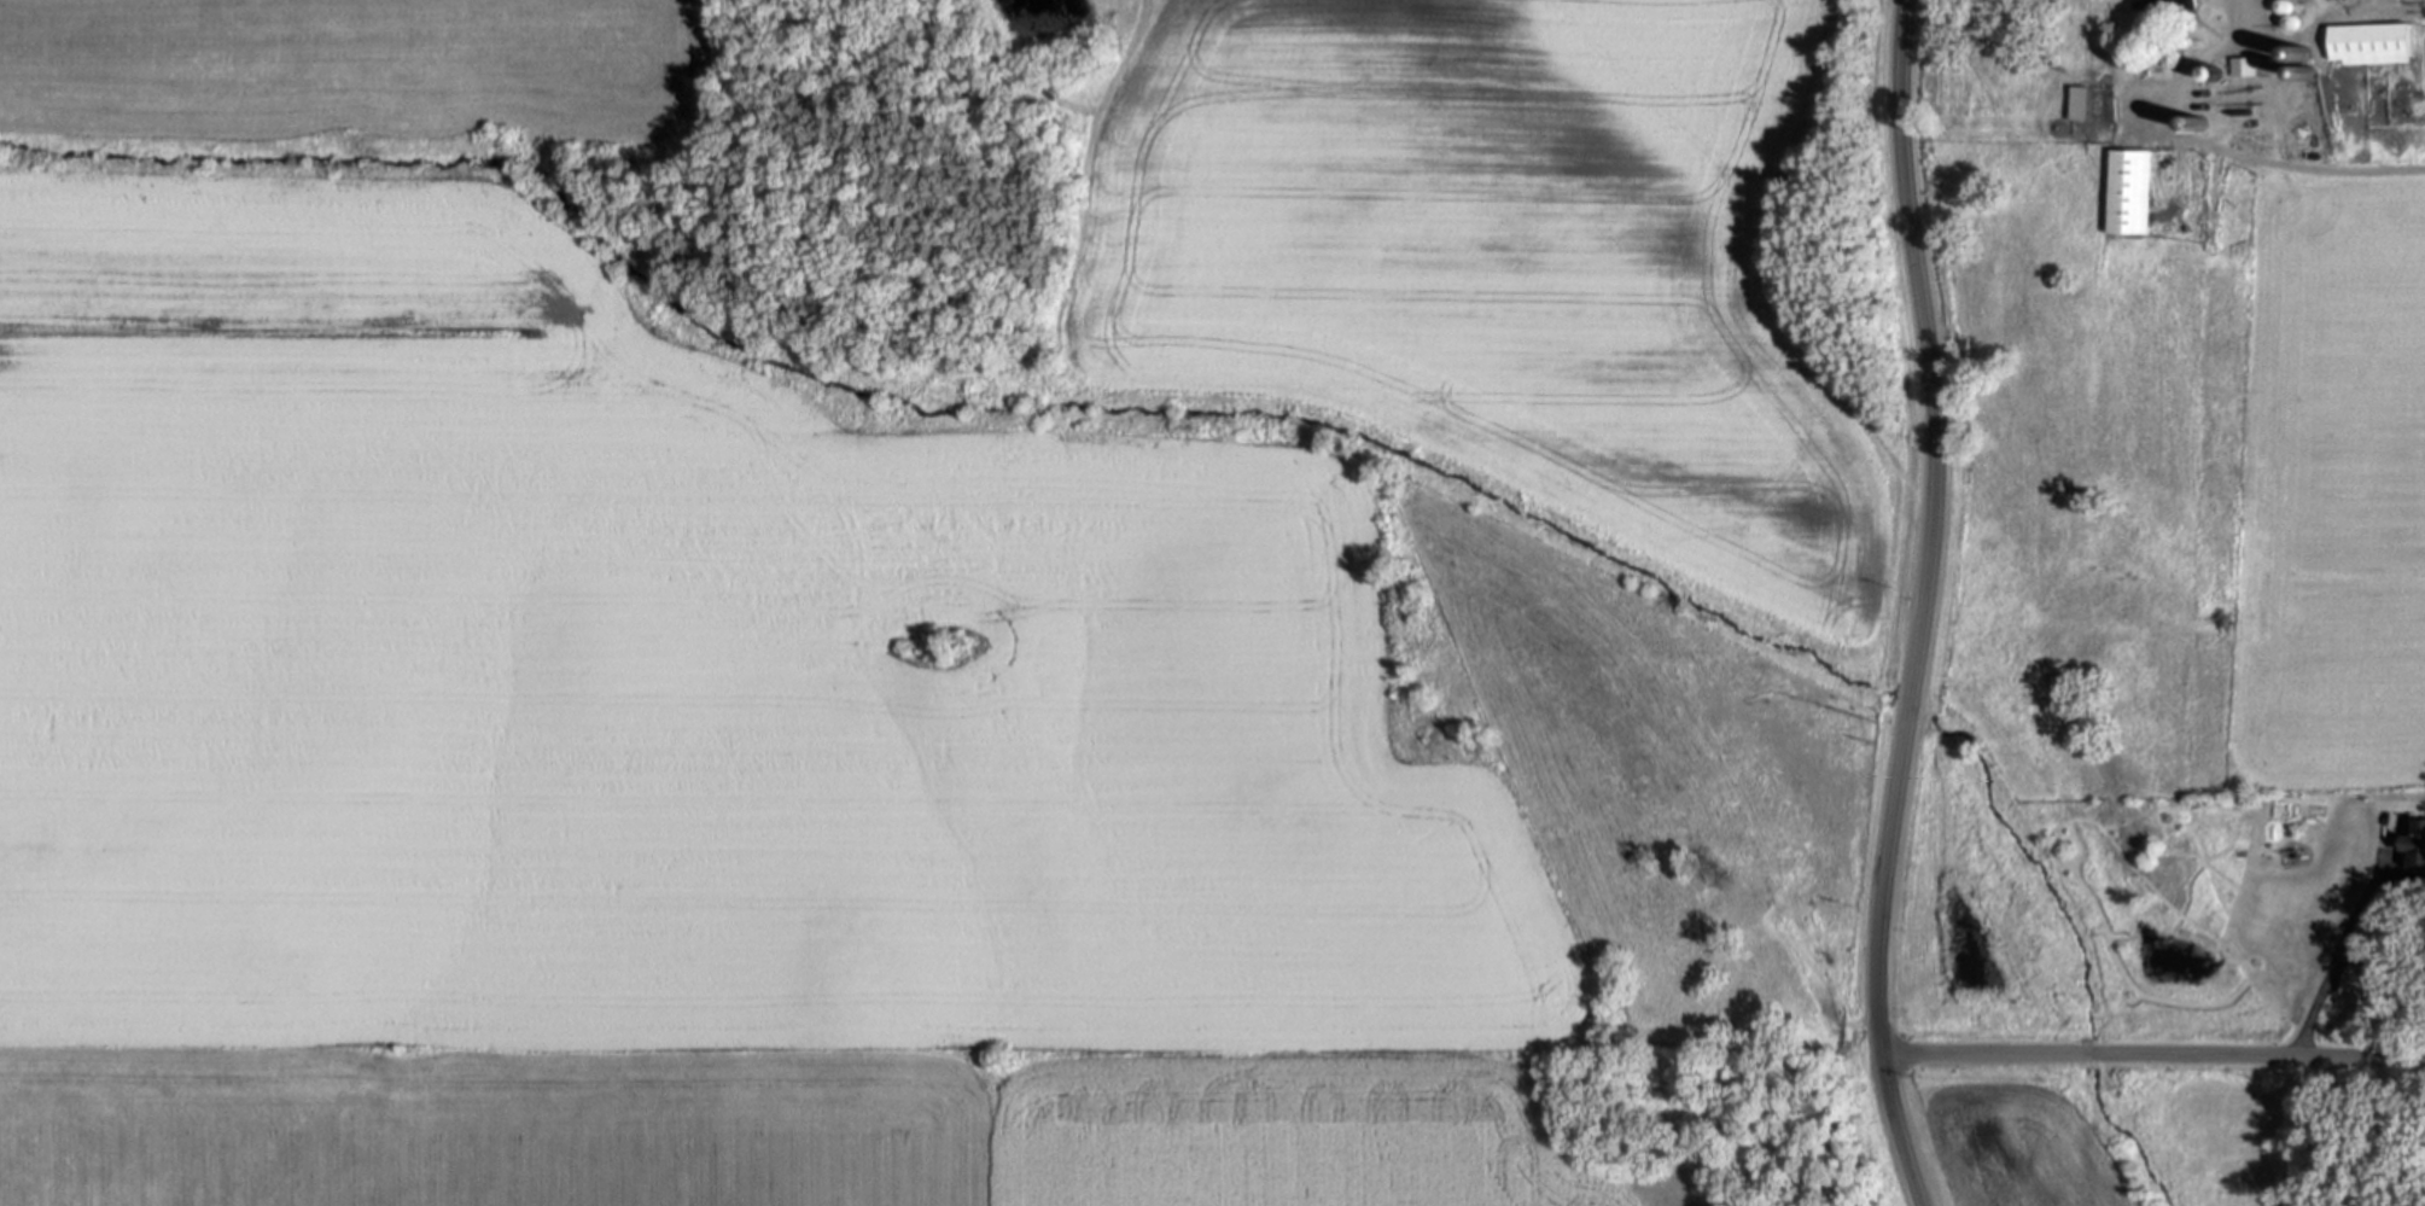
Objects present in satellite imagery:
building: (2344, 0)
building: (2164, 5)
road: (2406, 11)
road: (2322, 23)
building: (2374, 45)
road: (2252, 48)
building: (2083, 104)
building: (2134, 192)
road: (1926, 606)
building: (2418, 847)
road: (2344, 938)
building: (2360, 980)
road: (2152, 1055)

